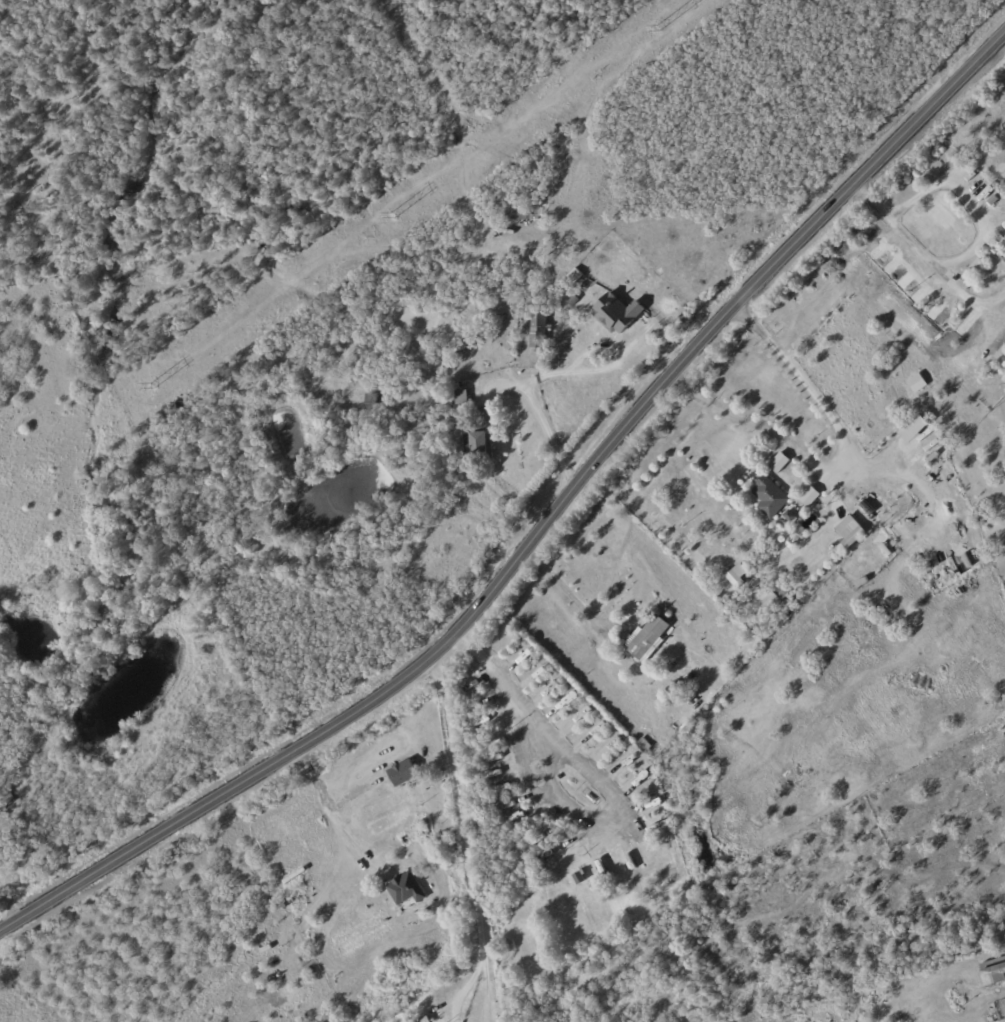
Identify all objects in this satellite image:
power tower: (658, 28)
road: (969, 200)
power tower: (393, 215)
road: (928, 258)
building: (616, 313)
building: (538, 328)
road: (596, 345)
building: (917, 382)
power tower: (152, 385)
road: (541, 419)
road: (761, 423)
building: (913, 428)
road: (839, 447)
building: (778, 462)
building: (770, 495)
building: (809, 496)
road: (541, 529)
building: (849, 531)
building: (736, 575)
road: (558, 588)
building: (772, 597)
building: (645, 637)
building: (614, 743)
building: (643, 744)
building: (402, 773)
road: (582, 773)
road: (468, 808)
road: (328, 812)
building: (578, 878)
building: (405, 889)
building: (993, 973)
road: (466, 988)
road: (491, 994)
building: (423, 1020)

